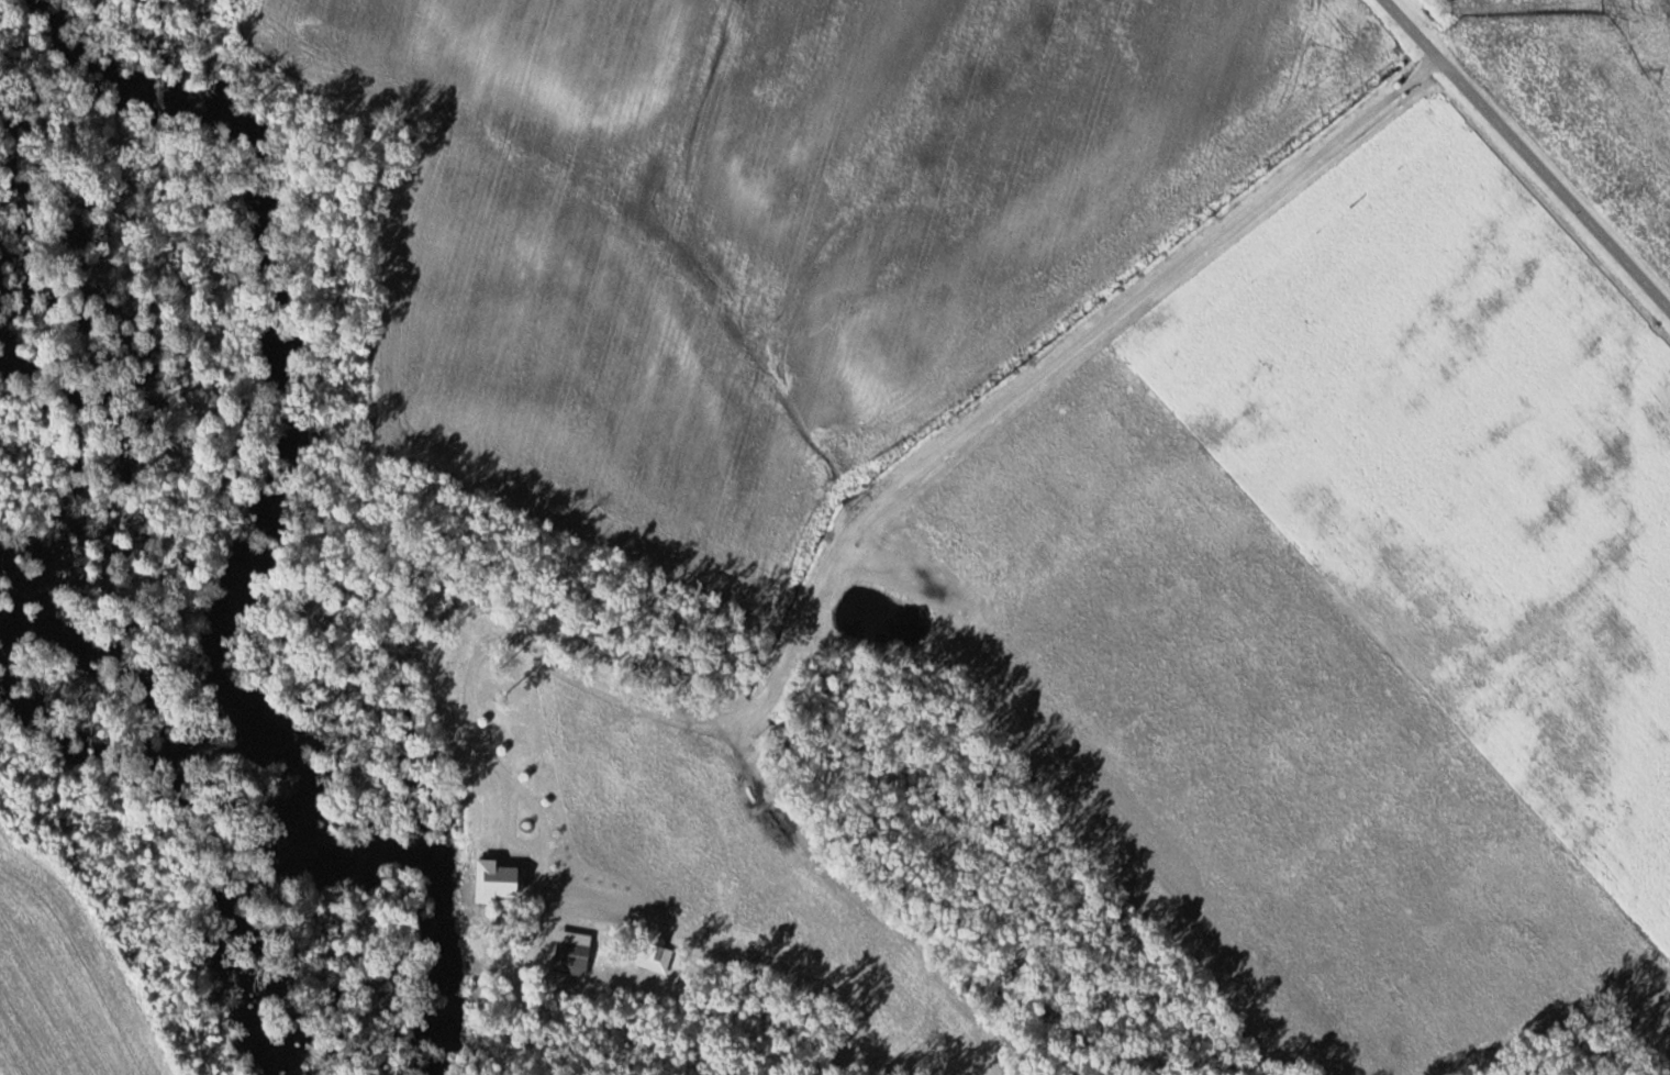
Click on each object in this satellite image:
road: (1528, 156)
river: (272, 530)

